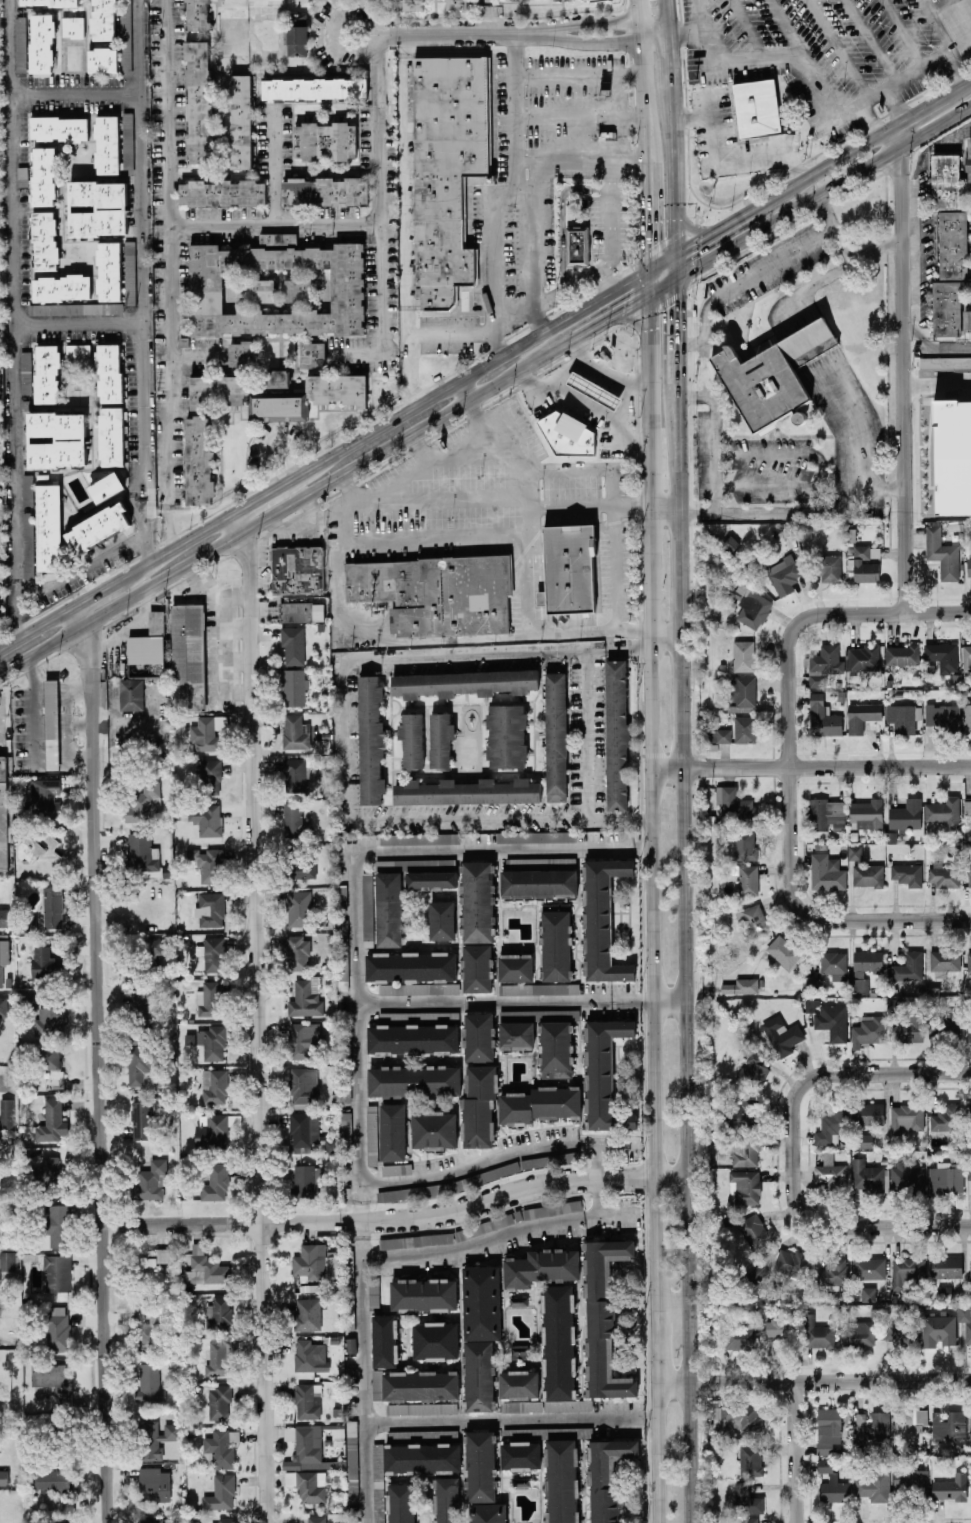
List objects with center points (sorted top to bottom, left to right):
building: (49, 2)
building: (456, 4)
building: (412, 5)
road: (938, 6)
building: (197, 14)
road: (667, 16)
building: (297, 18)
road: (490, 18)
road: (366, 21)
building: (72, 26)
road: (935, 26)
building: (113, 27)
road: (747, 29)
road: (686, 31)
road: (703, 31)
road: (902, 33)
road: (520, 35)
road: (869, 41)
building: (42, 42)
building: (296, 42)
road: (958, 42)
building: (20, 43)
road: (835, 48)
road: (799, 58)
building: (102, 59)
road: (670, 59)
road: (752, 59)
road: (957, 66)
road: (914, 70)
road: (577, 74)
building: (314, 88)
road: (874, 92)
road: (645, 95)
road: (76, 96)
road: (934, 98)
road: (861, 99)
building: (198, 101)
road: (889, 104)
building: (754, 108)
road: (843, 110)
road: (168, 113)
road: (511, 115)
road: (578, 115)
road: (691, 115)
road: (618, 117)
road: (867, 117)
building: (240, 121)
road: (892, 123)
road: (934, 123)
building: (59, 128)
road: (377, 129)
road: (882, 129)
road: (892, 135)
road: (952, 137)
building: (325, 140)
building: (127, 142)
building: (107, 144)
road: (716, 158)
road: (827, 160)
road: (580, 162)
building: (969, 164)
road: (789, 165)
road: (273, 166)
road: (674, 168)
building: (445, 172)
building: (43, 176)
building: (945, 181)
road: (909, 189)
building: (325, 191)
building: (222, 192)
road: (498, 195)
building: (97, 208)
road: (786, 209)
road: (560, 216)
road: (405, 220)
road: (726, 220)
road: (834, 225)
road: (911, 227)
road: (650, 228)
traffic signals: (699, 237)
building: (275, 238)
building: (44, 240)
road: (922, 245)
traffic signals: (651, 246)
building: (575, 247)
road: (911, 257)
road: (663, 258)
road: (675, 263)
building: (108, 270)
building: (950, 273)
road: (601, 277)
road: (142, 280)
road: (663, 282)
road: (170, 283)
building: (61, 287)
building: (277, 289)
road: (554, 291)
road: (911, 298)
traffic signals: (676, 305)
building: (75, 308)
traffic signals: (621, 308)
road: (379, 310)
road: (12, 317)
building: (967, 321)
road: (78, 324)
road: (675, 325)
road: (590, 326)
road: (912, 329)
road: (703, 334)
road: (805, 335)
road: (689, 344)
building: (806, 344)
road: (944, 344)
building: (77, 350)
building: (241, 352)
building: (312, 353)
road: (197, 358)
building: (945, 362)
road: (471, 371)
building: (25, 372)
building: (109, 372)
building: (46, 373)
road: (563, 373)
building: (277, 378)
road: (901, 378)
road: (615, 379)
road: (936, 381)
building: (758, 384)
road: (465, 388)
building: (594, 389)
road: (692, 394)
building: (312, 396)
road: (626, 402)
road: (601, 412)
building: (797, 415)
road: (270, 429)
building: (569, 435)
building: (111, 436)
building: (57, 439)
road: (423, 450)
building: (952, 456)
building: (198, 460)
road: (434, 466)
road: (569, 468)
road: (822, 468)
road: (884, 485)
building: (106, 486)
building: (27, 489)
road: (309, 494)
road: (259, 495)
road: (438, 498)
road: (524, 505)
road: (587, 506)
road: (665, 508)
road: (779, 512)
road: (236, 524)
building: (98, 527)
building: (42, 532)
road: (439, 535)
road: (182, 539)
road: (615, 548)
building: (942, 552)
road: (679, 560)
building: (864, 564)
building: (968, 565)
building: (827, 566)
building: (566, 569)
road: (80, 572)
building: (294, 573)
building: (783, 574)
road: (105, 585)
building: (434, 593)
building: (751, 606)
road: (790, 608)
building: (293, 613)
road: (81, 615)
road: (810, 615)
road: (36, 625)
road: (812, 627)
road: (666, 635)
road: (417, 640)
building: (292, 644)
road: (638, 649)
road: (44, 650)
building: (743, 654)
building: (901, 654)
building: (942, 655)
building: (966, 656)
building: (862, 657)
building: (143, 658)
building: (185, 659)
building: (823, 664)
building: (464, 683)
building: (294, 686)
building: (131, 694)
road: (35, 708)
building: (862, 715)
building: (822, 716)
building: (942, 716)
building: (901, 717)
building: (966, 717)
road: (0, 718)
building: (49, 724)
building: (744, 728)
building: (207, 732)
building: (297, 732)
building: (617, 734)
building: (717, 734)
building: (506, 735)
road: (587, 735)
building: (556, 736)
road: (343, 738)
building: (371, 740)
building: (412, 740)
building: (440, 740)
building: (322, 746)
road: (804, 750)
road: (681, 757)
road: (694, 761)
road: (811, 766)
road: (652, 770)
building: (297, 772)
building: (209, 777)
building: (467, 791)
building: (45, 797)
building: (143, 802)
building: (733, 803)
building: (967, 807)
building: (943, 811)
building: (866, 812)
building: (826, 813)
building: (905, 814)
building: (2, 818)
building: (206, 818)
building: (295, 821)
building: (535, 836)
building: (420, 838)
building: (48, 840)
building: (744, 843)
building: (30, 849)
building: (141, 852)
building: (296, 863)
building: (206, 864)
building: (863, 868)
building: (825, 872)
building: (906, 873)
building: (944, 874)
building: (969, 876)
building: (431, 879)
building: (747, 879)
building: (538, 883)
road: (354, 888)
building: (340, 895)
building: (477, 901)
building: (52, 906)
building: (298, 908)
building: (210, 909)
building: (367, 909)
building: (388, 909)
building: (3, 917)
road: (812, 917)
building: (602, 919)
building: (442, 920)
building: (753, 920)
building: (555, 945)
building: (153, 946)
building: (4, 949)
building: (783, 951)
building: (297, 952)
building: (212, 953)
building: (341, 954)
building: (945, 959)
building: (867, 960)
building: (969, 961)
building: (45, 963)
building: (834, 964)
building: (909, 966)
building: (515, 967)
building: (477, 968)
building: (413, 972)
building: (148, 973)
building: (1, 976)
building: (810, 984)
building: (858, 985)
building: (740, 986)
building: (538, 988)
building: (306, 997)
building: (208, 998)
road: (669, 999)
building: (143, 1000)
road: (505, 1000)
building: (3, 1006)
building: (49, 1021)
building: (832, 1021)
building: (951, 1022)
building: (969, 1025)
building: (916, 1027)
road: (257, 1028)
building: (868, 1030)
building: (516, 1035)
building: (782, 1035)
building: (478, 1036)
building: (412, 1037)
building: (303, 1039)
building: (212, 1041)
building: (555, 1049)
building: (50, 1056)
building: (138, 1063)
building: (753, 1071)
road: (855, 1072)
road: (98, 1073)
building: (604, 1075)
building: (414, 1080)
building: (214, 1085)
building: (540, 1104)
building: (479, 1107)
building: (6, 1113)
building: (741, 1113)
building: (867, 1114)
building: (943, 1117)
building: (906, 1118)
building: (141, 1119)
building: (52, 1121)
building: (830, 1124)
building: (345, 1127)
building: (304, 1128)
building: (211, 1130)
building: (434, 1130)
building: (392, 1131)
building: (371, 1135)
building: (866, 1140)
road: (685, 1145)
building: (745, 1150)
road: (497, 1156)
building: (550, 1159)
building: (396, 1169)
building: (50, 1170)
building: (830, 1173)
building: (867, 1177)
building: (905, 1177)
building: (968, 1177)
building: (946, 1178)
building: (150, 1180)
building: (306, 1180)
building: (215, 1182)
building: (746, 1186)
road: (522, 1191)
road: (600, 1196)
road: (608, 1213)
road: (232, 1224)
building: (58, 1225)
road: (846, 1226)
building: (751, 1230)
road: (474, 1244)
building: (7, 1260)
building: (152, 1262)
building: (315, 1262)
building: (775, 1264)
building: (945, 1266)
building: (205, 1267)
building: (541, 1267)
building: (869, 1267)
building: (970, 1268)
building: (906, 1270)
building: (57, 1272)
building: (833, 1273)
building: (348, 1277)
building: (373, 1291)
building: (868, 1293)
building: (423, 1294)
building: (218, 1314)
building: (307, 1314)
building: (603, 1317)
building: (965, 1322)
building: (777, 1327)
road: (655, 1328)
building: (57, 1329)
building: (938, 1330)
building: (151, 1332)
building: (899, 1332)
building: (480, 1333)
building: (817, 1333)
building: (857, 1333)
building: (739, 1337)
building: (385, 1340)
building: (435, 1340)
building: (558, 1342)
building: (519, 1350)
building: (309, 1355)
building: (219, 1357)
road: (363, 1373)
building: (49, 1374)
road: (813, 1381)
building: (149, 1383)
building: (519, 1384)
building: (420, 1385)
building: (61, 1391)
building: (219, 1401)
building: (307, 1401)
building: (522, 1405)
building: (415, 1408)
building: (734, 1416)
road: (509, 1418)
building: (909, 1425)
building: (948, 1425)
building: (970, 1425)
building: (873, 1427)
building: (828, 1429)
building: (157, 1438)
building: (221, 1446)
building: (307, 1448)
building: (351, 1448)
road: (656, 1452)
road: (795, 1452)
building: (520, 1454)
building: (422, 1458)
building: (750, 1459)
building: (480, 1466)
building: (606, 1476)
building: (3, 1477)
building: (52, 1478)
building: (561, 1480)
building: (911, 1480)
building: (378, 1483)
building: (832, 1483)
building: (154, 1484)
building: (308, 1484)
building: (874, 1485)
building: (352, 1486)
building: (950, 1487)
building: (220, 1493)
building: (746, 1499)
building: (447, 1500)
building: (401, 1503)
building: (66, 1505)
building: (487, 1512)
building: (316, 1519)
building: (748, 1519)
building: (154, 1520)
building: (225, 1520)
building: (72, 1522)

